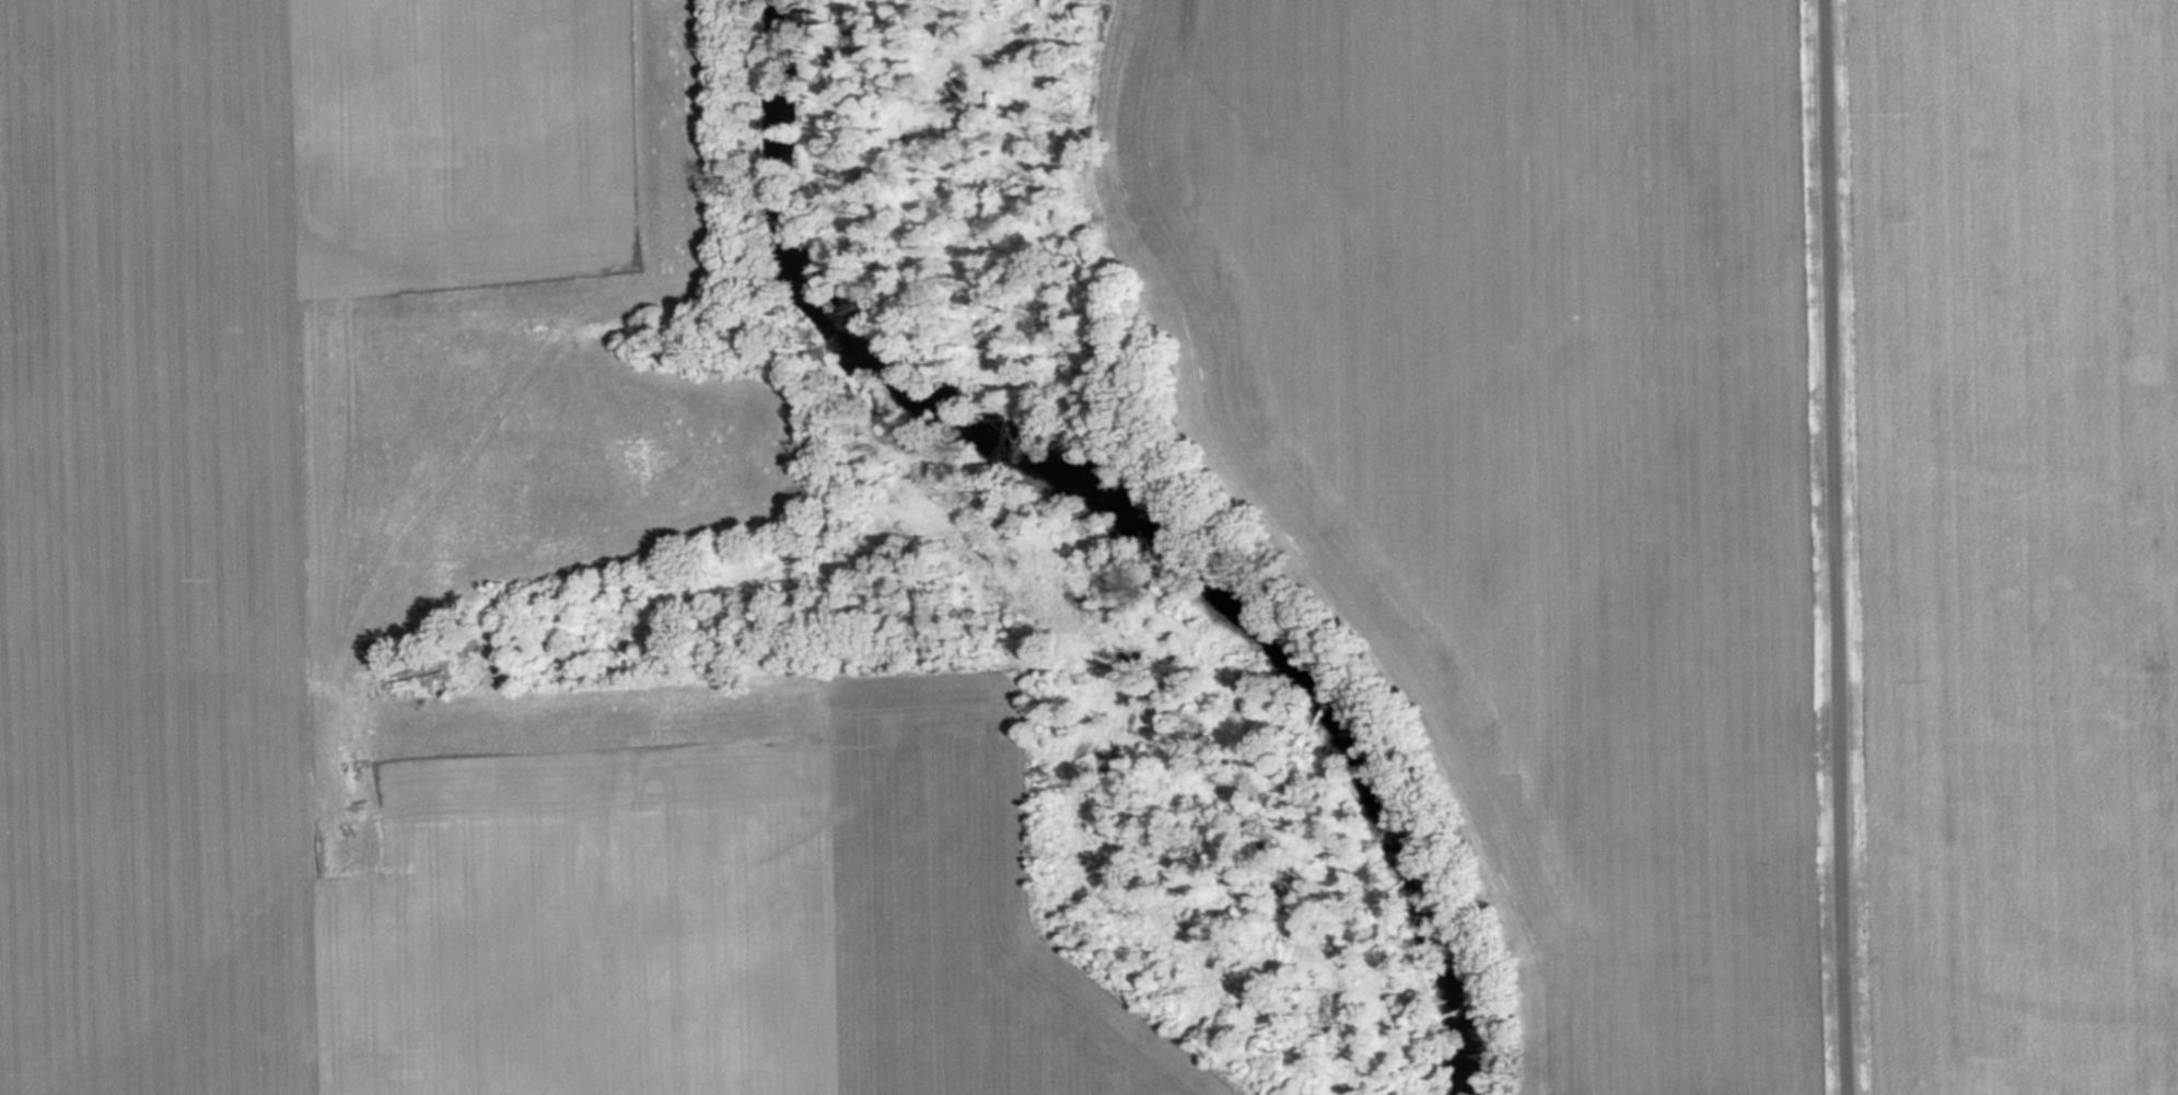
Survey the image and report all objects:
river: (1109, 533)
road: (1849, 547)

